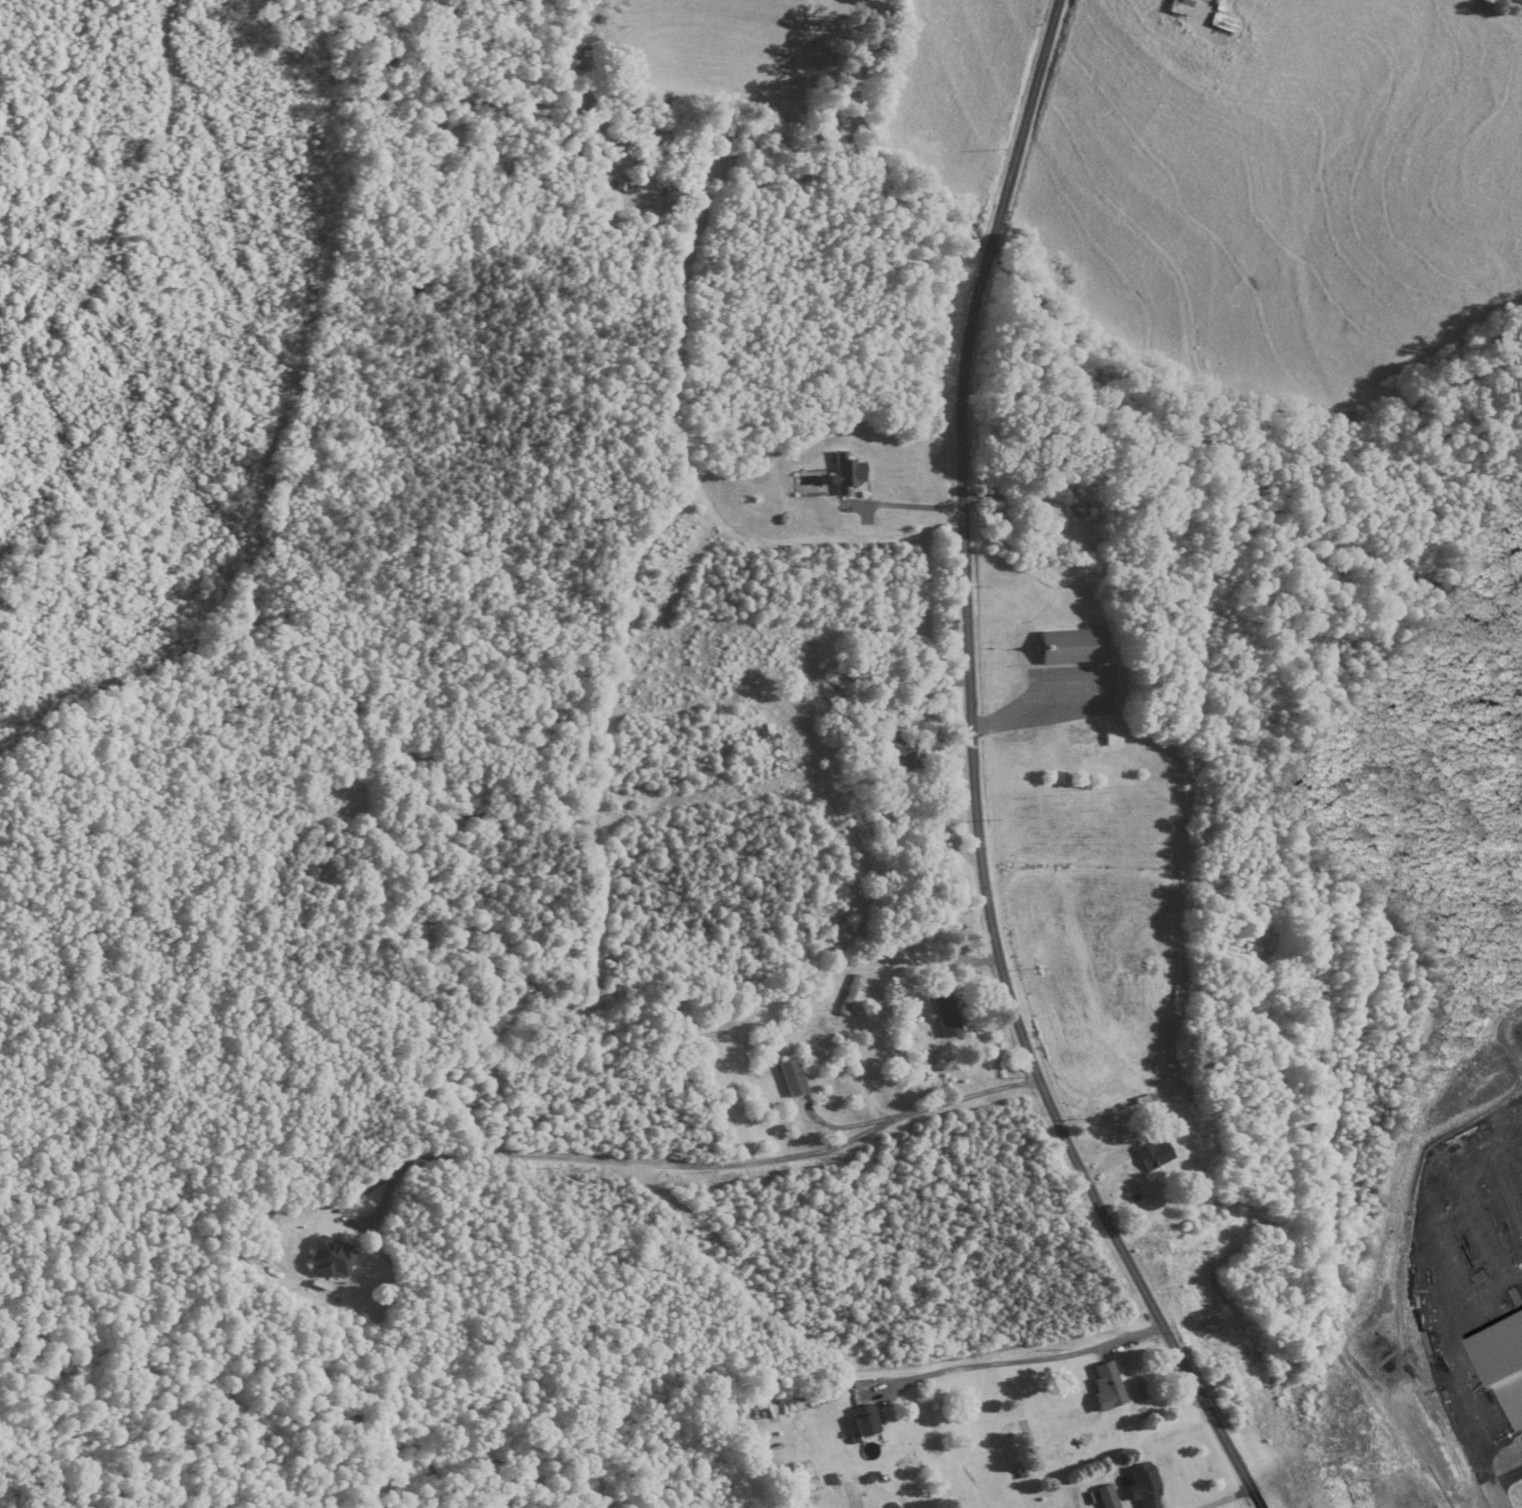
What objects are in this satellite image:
building: (1179, 7)
building: (1223, 23)
building: (622, 185)
building: (846, 474)
road: (1002, 497)
building: (1074, 501)
road: (906, 505)
building: (1070, 646)
building: (1113, 738)
building: (905, 756)
road: (976, 778)
building: (850, 996)
building: (946, 1014)
building: (792, 1078)
road: (849, 1126)
building: (1154, 1156)
road: (650, 1163)
building: (329, 1258)
road: (1026, 1360)
building: (1107, 1386)
building: (865, 1421)
building: (1144, 1486)

